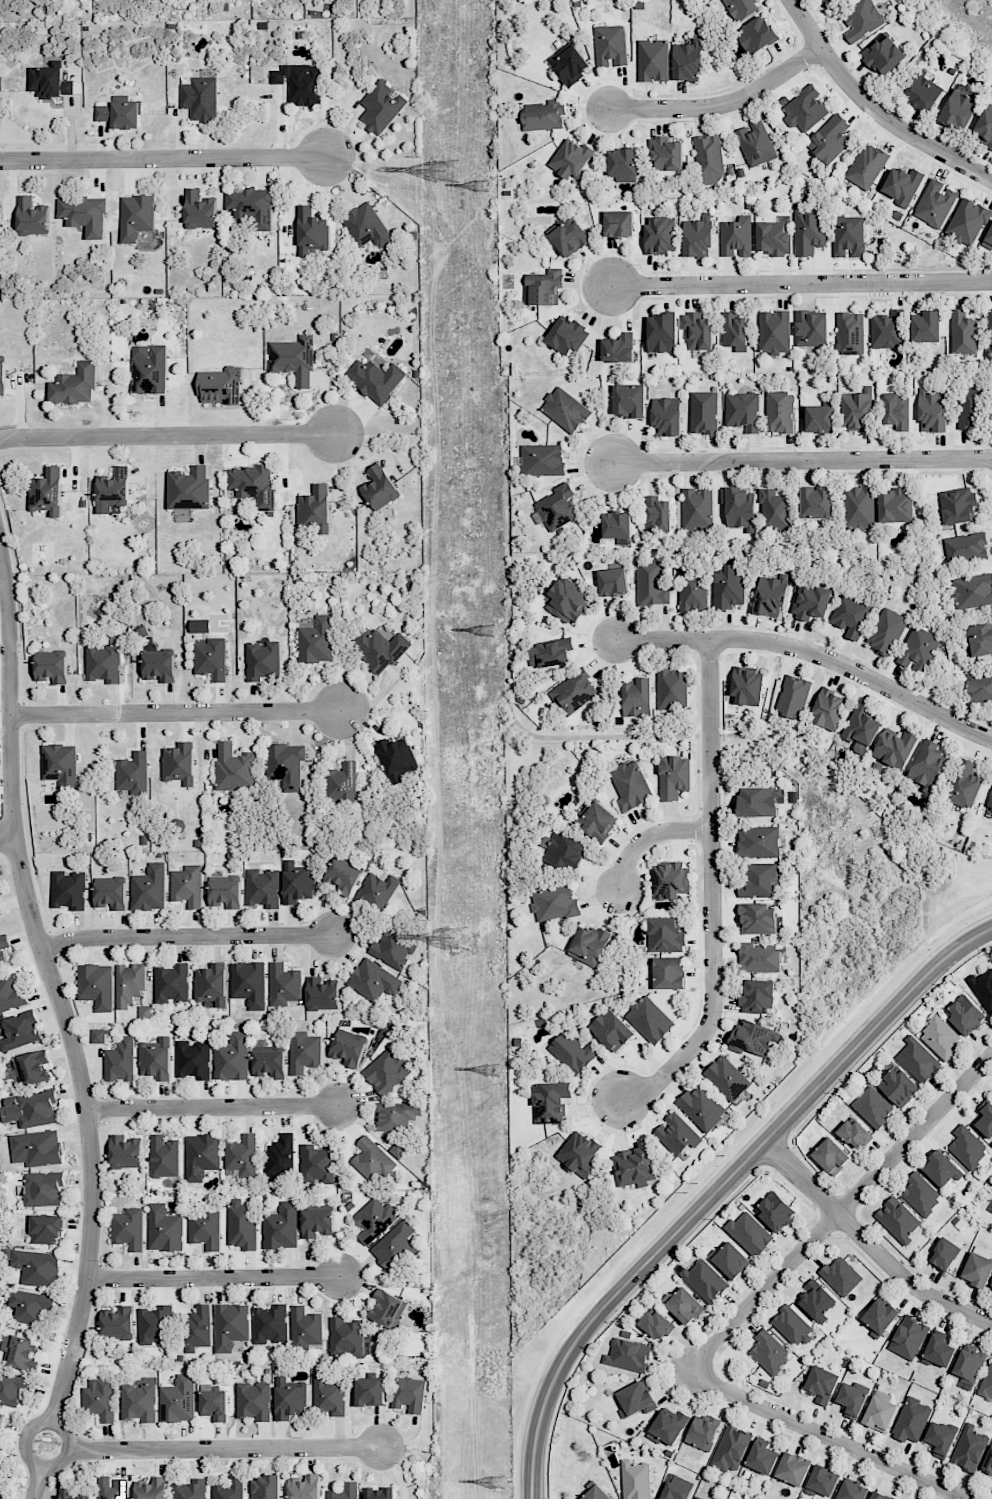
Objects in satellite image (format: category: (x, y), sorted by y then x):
building: (829, 2)
building: (741, 8)
building: (862, 19)
building: (756, 34)
building: (610, 46)
building: (882, 56)
building: (653, 60)
building: (687, 60)
building: (569, 64)
building: (50, 82)
building: (299, 83)
building: (922, 89)
building: (199, 97)
road: (721, 103)
building: (380, 107)
building: (805, 109)
road: (873, 109)
building: (958, 110)
building: (120, 114)
building: (543, 115)
building: (829, 139)
building: (755, 143)
building: (665, 154)
road: (163, 158)
building: (570, 159)
building: (709, 159)
building: (622, 164)
building: (866, 166)
power tower: (443, 171)
power tower: (481, 184)
building: (902, 185)
building: (934, 203)
building: (251, 206)
building: (200, 210)
building: (84, 214)
building: (136, 216)
building: (32, 217)
building: (967, 222)
building: (618, 224)
building: (366, 226)
building: (311, 231)
building: (808, 232)
building: (660, 235)
building: (848, 236)
building: (736, 237)
building: (988, 237)
building: (697, 238)
building: (772, 238)
road: (798, 282)
building: (543, 287)
building: (989, 326)
building: (926, 327)
building: (810, 329)
building: (734, 330)
building: (887, 330)
building: (697, 331)
building: (774, 332)
building: (661, 333)
building: (850, 333)
building: (962, 333)
building: (565, 335)
building: (617, 348)
building: (293, 359)
building: (148, 369)
building: (2, 378)
building: (376, 379)
building: (74, 385)
building: (220, 385)
building: (628, 400)
building: (969, 408)
building: (565, 410)
building: (856, 410)
building: (896, 410)
building: (932, 410)
building: (742, 411)
building: (703, 412)
building: (779, 412)
building: (666, 416)
building: (819, 418)
road: (167, 435)
building: (542, 459)
road: (801, 459)
building: (252, 485)
building: (189, 488)
building: (379, 488)
building: (113, 490)
building: (47, 492)
building: (816, 502)
building: (895, 505)
building: (958, 505)
building: (556, 507)
building: (859, 507)
building: (697, 508)
building: (739, 508)
building: (314, 509)
building: (773, 510)
building: (657, 514)
building: (616, 525)
building: (965, 548)
building: (612, 582)
building: (651, 583)
building: (728, 587)
building: (692, 591)
building: (973, 591)
building: (770, 595)
building: (567, 599)
building: (810, 601)
building: (850, 614)
power tower: (490, 631)
building: (885, 631)
building: (980, 639)
building: (316, 640)
building: (380, 648)
building: (917, 649)
building: (549, 652)
road: (813, 652)
building: (211, 659)
building: (262, 661)
building: (103, 663)
building: (159, 664)
building: (51, 666)
building: (747, 685)
building: (979, 687)
building: (672, 689)
building: (572, 693)
building: (792, 697)
building: (637, 698)
building: (828, 709)
road: (175, 713)
building: (860, 729)
building: (895, 748)
building: (398, 759)
building: (179, 763)
building: (60, 765)
building: (285, 765)
building: (927, 765)
building: (234, 768)
building: (133, 773)
building: (674, 778)
building: (341, 782)
building: (630, 785)
building: (965, 786)
building: (758, 801)
building: (990, 802)
building: (596, 820)
road: (649, 836)
road: (7, 837)
building: (758, 842)
building: (564, 852)
building: (342, 876)
building: (670, 880)
building: (759, 880)
building: (296, 883)
building: (187, 885)
building: (149, 888)
building: (262, 888)
building: (68, 890)
building: (376, 891)
road: (712, 891)
building: (110, 892)
building: (225, 893)
building: (553, 903)
building: (0, 912)
building: (757, 919)
building: (665, 934)
road: (185, 936)
power tower: (463, 939)
building: (3, 945)
building: (589, 945)
building: (393, 948)
building: (758, 957)
building: (668, 973)
building: (373, 980)
building: (171, 983)
building: (249, 983)
building: (128, 984)
building: (211, 984)
building: (283, 984)
building: (96, 985)
building: (983, 987)
road: (54, 990)
building: (10, 993)
building: (321, 994)
building: (757, 996)
building: (144, 1012)
building: (964, 1015)
building: (649, 1019)
building: (19, 1030)
building: (611, 1030)
building: (98, 1036)
building: (752, 1037)
building: (939, 1037)
building: (347, 1049)
building: (303, 1052)
building: (572, 1052)
building: (232, 1057)
building: (155, 1058)
building: (192, 1059)
building: (268, 1059)
building: (917, 1059)
building: (120, 1061)
building: (31, 1068)
power tower: (492, 1068)
building: (385, 1071)
building: (726, 1078)
building: (897, 1084)
building: (550, 1101)
building: (872, 1106)
road: (210, 1107)
building: (701, 1107)
building: (30, 1108)
building: (395, 1115)
building: (986, 1120)
building: (676, 1134)
building: (853, 1134)
building: (967, 1147)
building: (36, 1148)
building: (397, 1150)
building: (125, 1152)
building: (578, 1153)
building: (242, 1155)
building: (163, 1156)
building: (201, 1156)
building: (830, 1156)
building: (279, 1157)
building: (371, 1160)
building: (316, 1164)
building: (634, 1166)
building: (942, 1170)
road: (719, 1187)
building: (42, 1188)
building: (920, 1194)
building: (316, 1206)
building: (774, 1210)
road: (839, 1212)
building: (374, 1219)
building: (897, 1219)
building: (316, 1223)
building: (241, 1224)
building: (280, 1227)
building: (128, 1228)
building: (164, 1228)
building: (46, 1229)
building: (204, 1229)
building: (749, 1233)
road: (869, 1245)
building: (395, 1246)
building: (944, 1254)
building: (730, 1260)
building: (36, 1267)
building: (977, 1269)
building: (840, 1276)
road: (212, 1278)
building: (704, 1280)
building: (991, 1286)
building: (817, 1300)
building: (29, 1306)
building: (684, 1306)
building: (386, 1308)
building: (879, 1317)
building: (118, 1322)
building: (269, 1323)
building: (154, 1325)
building: (655, 1325)
building: (229, 1326)
building: (792, 1326)
building: (197, 1328)
building: (305, 1328)
building: (908, 1337)
building: (347, 1338)
building: (938, 1350)
building: (20, 1352)
building: (627, 1355)
building: (969, 1363)
building: (987, 1382)
building: (821, 1384)
building: (12, 1388)
building: (370, 1391)
building: (409, 1393)
building: (328, 1395)
building: (852, 1398)
building: (100, 1399)
building: (289, 1399)
building: (636, 1399)
building: (178, 1400)
building: (253, 1401)
building: (139, 1402)
building: (213, 1403)
building: (879, 1411)
building: (0, 1416)
building: (911, 1420)
building: (667, 1427)
building: (702, 1431)
road: (827, 1435)
road: (25, 1439)
building: (940, 1439)
building: (969, 1447)
building: (730, 1448)
road: (224, 1449)
building: (761, 1457)
building: (988, 1461)
building: (792, 1468)
building: (635, 1480)
building: (820, 1481)
road: (38, 1483)
power tower: (498, 1484)
building: (265, 1487)
building: (304, 1487)
building: (112, 1488)
building: (151, 1488)
building: (228, 1488)
building: (676, 1488)
building: (191, 1490)
building: (344, 1491)
building: (851, 1491)
building: (2, 1493)
building: (379, 1493)
building: (596, 1493)
building: (71, 1494)
building: (879, 1496)
building: (696, 1497)

